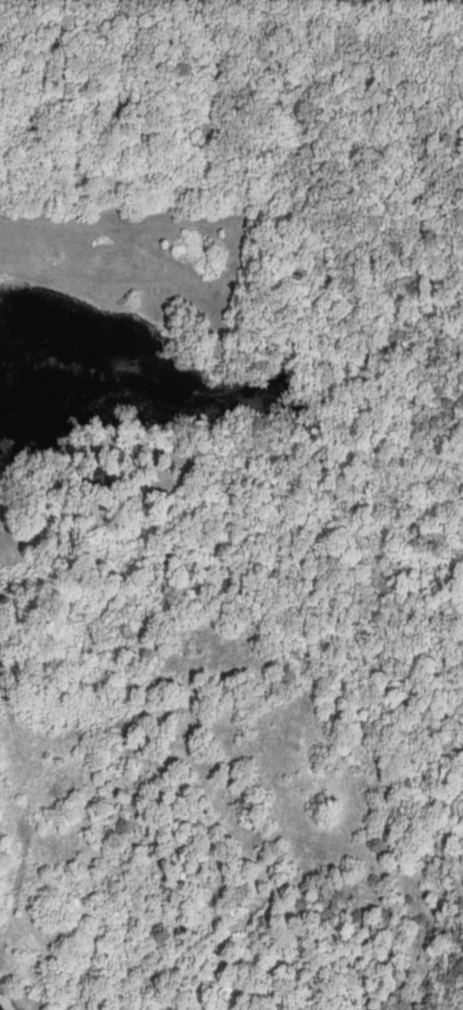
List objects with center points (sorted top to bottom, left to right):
road: (25, 511)

